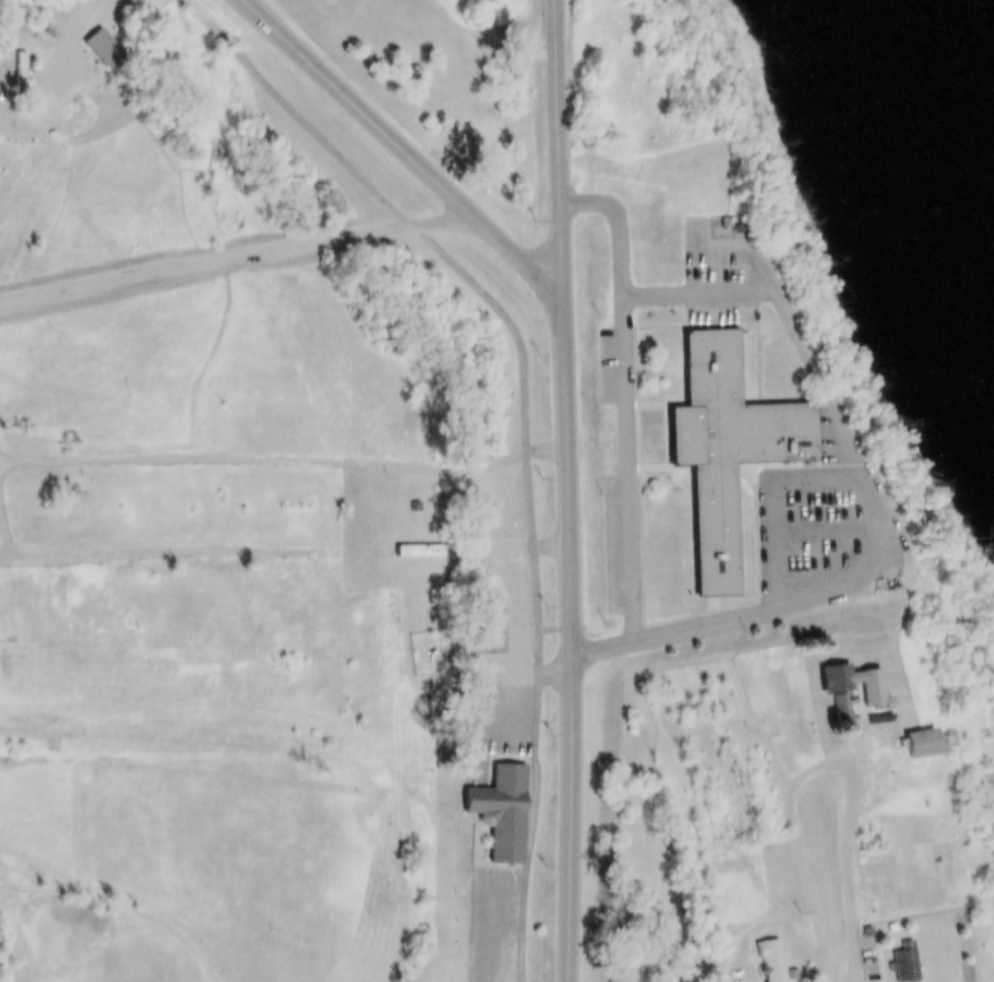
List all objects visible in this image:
road: (62, 31)
building: (95, 37)
building: (15, 61)
building: (21, 76)
road: (408, 149)
road: (38, 166)
road: (738, 235)
road: (235, 253)
road: (625, 389)
building: (718, 437)
road: (286, 457)
road: (766, 489)
road: (569, 490)
road: (871, 495)
road: (2, 512)
road: (820, 520)
building: (422, 540)
road: (529, 541)
road: (244, 551)
building: (491, 624)
road: (518, 632)
building: (859, 682)
building: (874, 689)
building: (908, 732)
building: (920, 741)
road: (819, 757)
building: (496, 802)
road: (118, 902)
road: (757, 920)
road: (484, 930)
building: (765, 955)
building: (904, 963)
road: (34, 971)

